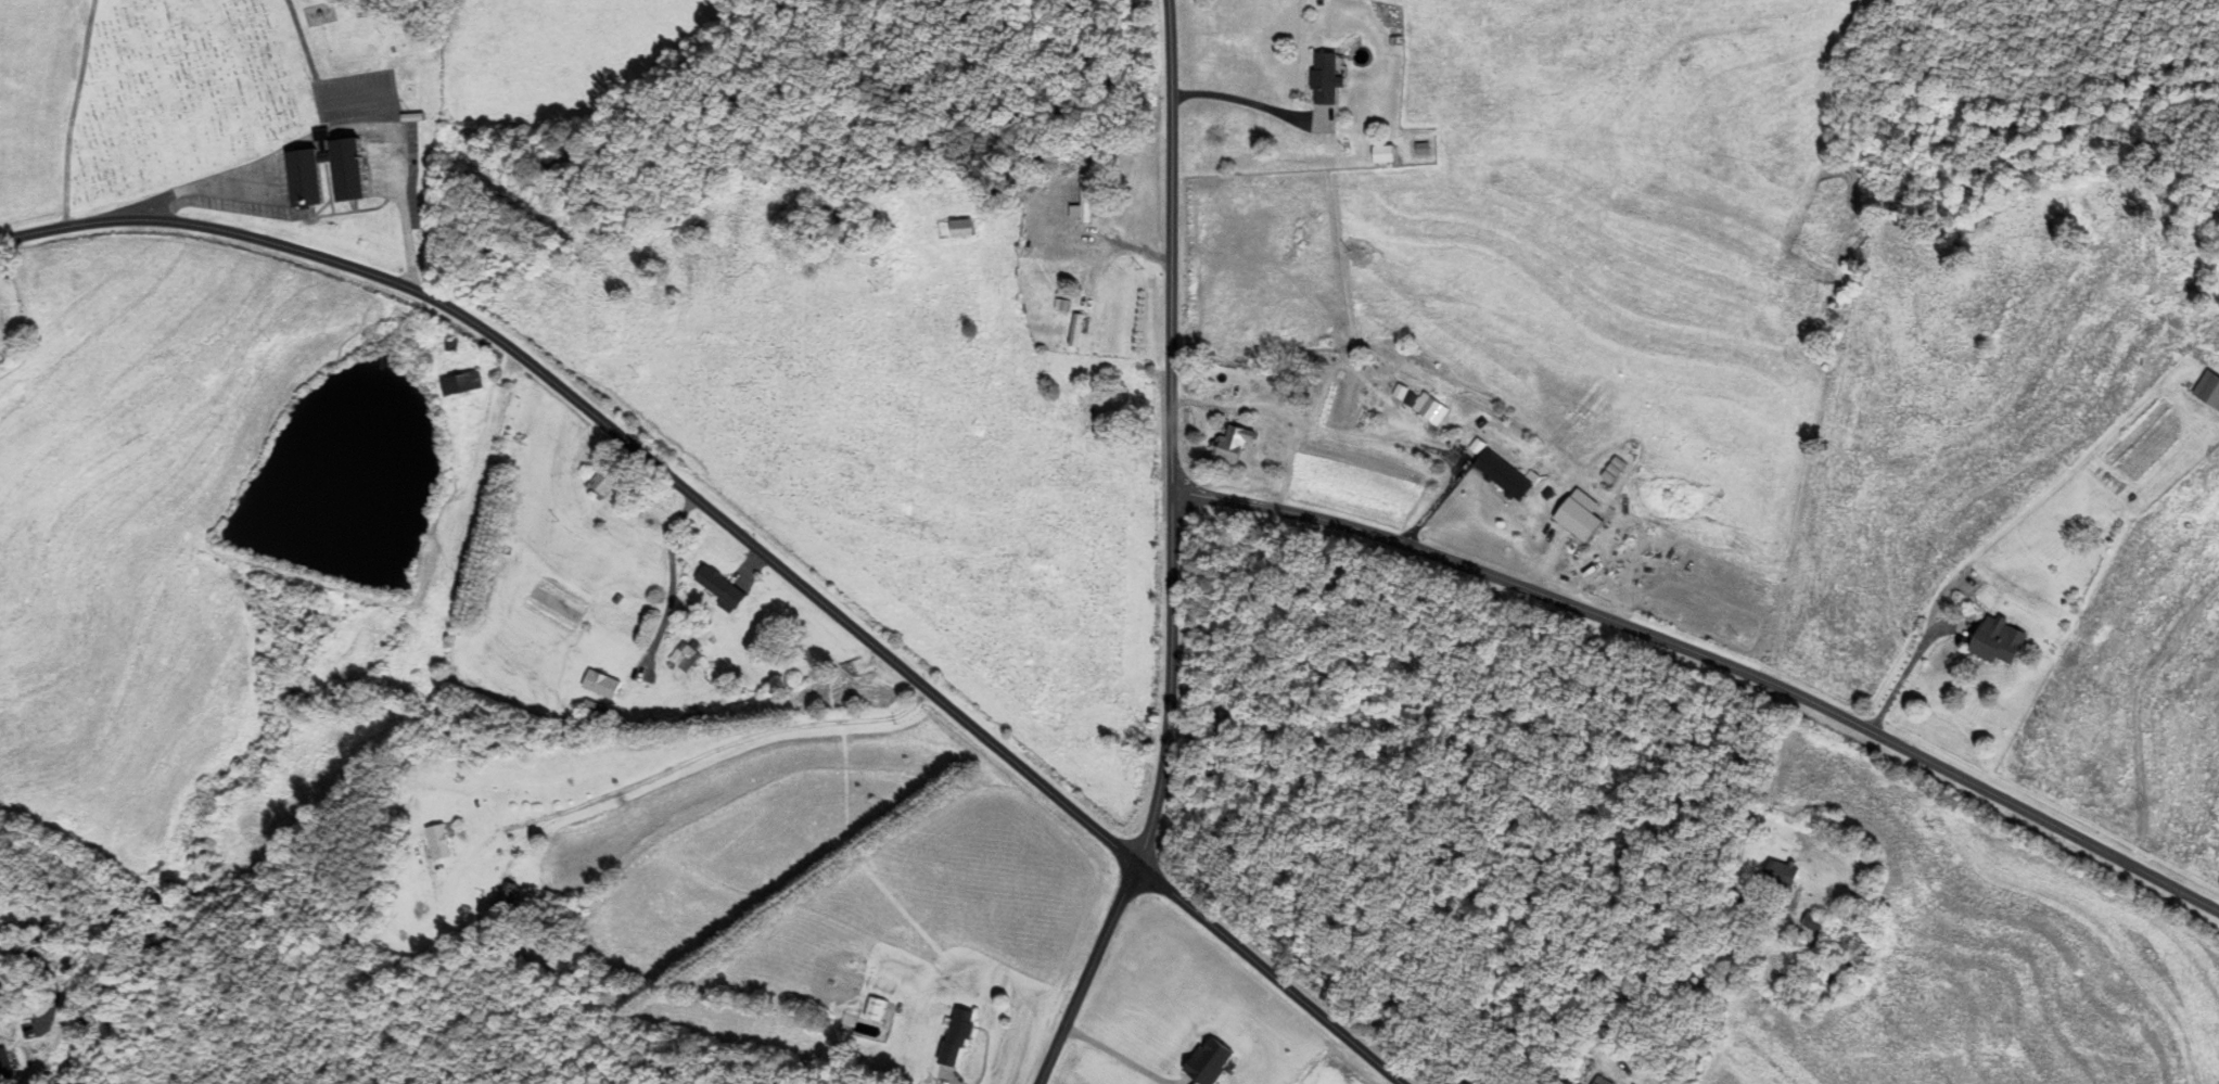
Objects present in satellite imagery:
building: (1326, 76)
park: (182, 93)
road: (1255, 101)
building: (1321, 120)
road: (313, 136)
building: (1382, 152)
building: (311, 178)
building: (1086, 197)
building: (965, 227)
building: (1, 295)
building: (1075, 329)
building: (461, 382)
building: (2203, 393)
building: (1421, 400)
road: (52, 424)
road: (1172, 433)
road: (1363, 434)
building: (1236, 443)
road: (1290, 463)
building: (1509, 474)
building: (607, 479)
building: (1634, 483)
building: (1579, 519)
building: (642, 525)
road: (751, 541)
road: (672, 582)
building: (723, 587)
building: (2004, 639)
building: (681, 654)
road: (1710, 658)
road: (1906, 668)
building: (599, 681)
building: (590, 706)
road: (687, 760)
road: (1749, 816)
building: (439, 840)
building: (1783, 872)
building: (509, 891)
building: (1815, 922)
road: (1087, 972)
road: (49, 973)
building: (876, 1006)
building: (960, 1034)
road: (1119, 1055)
building: (5, 1064)

